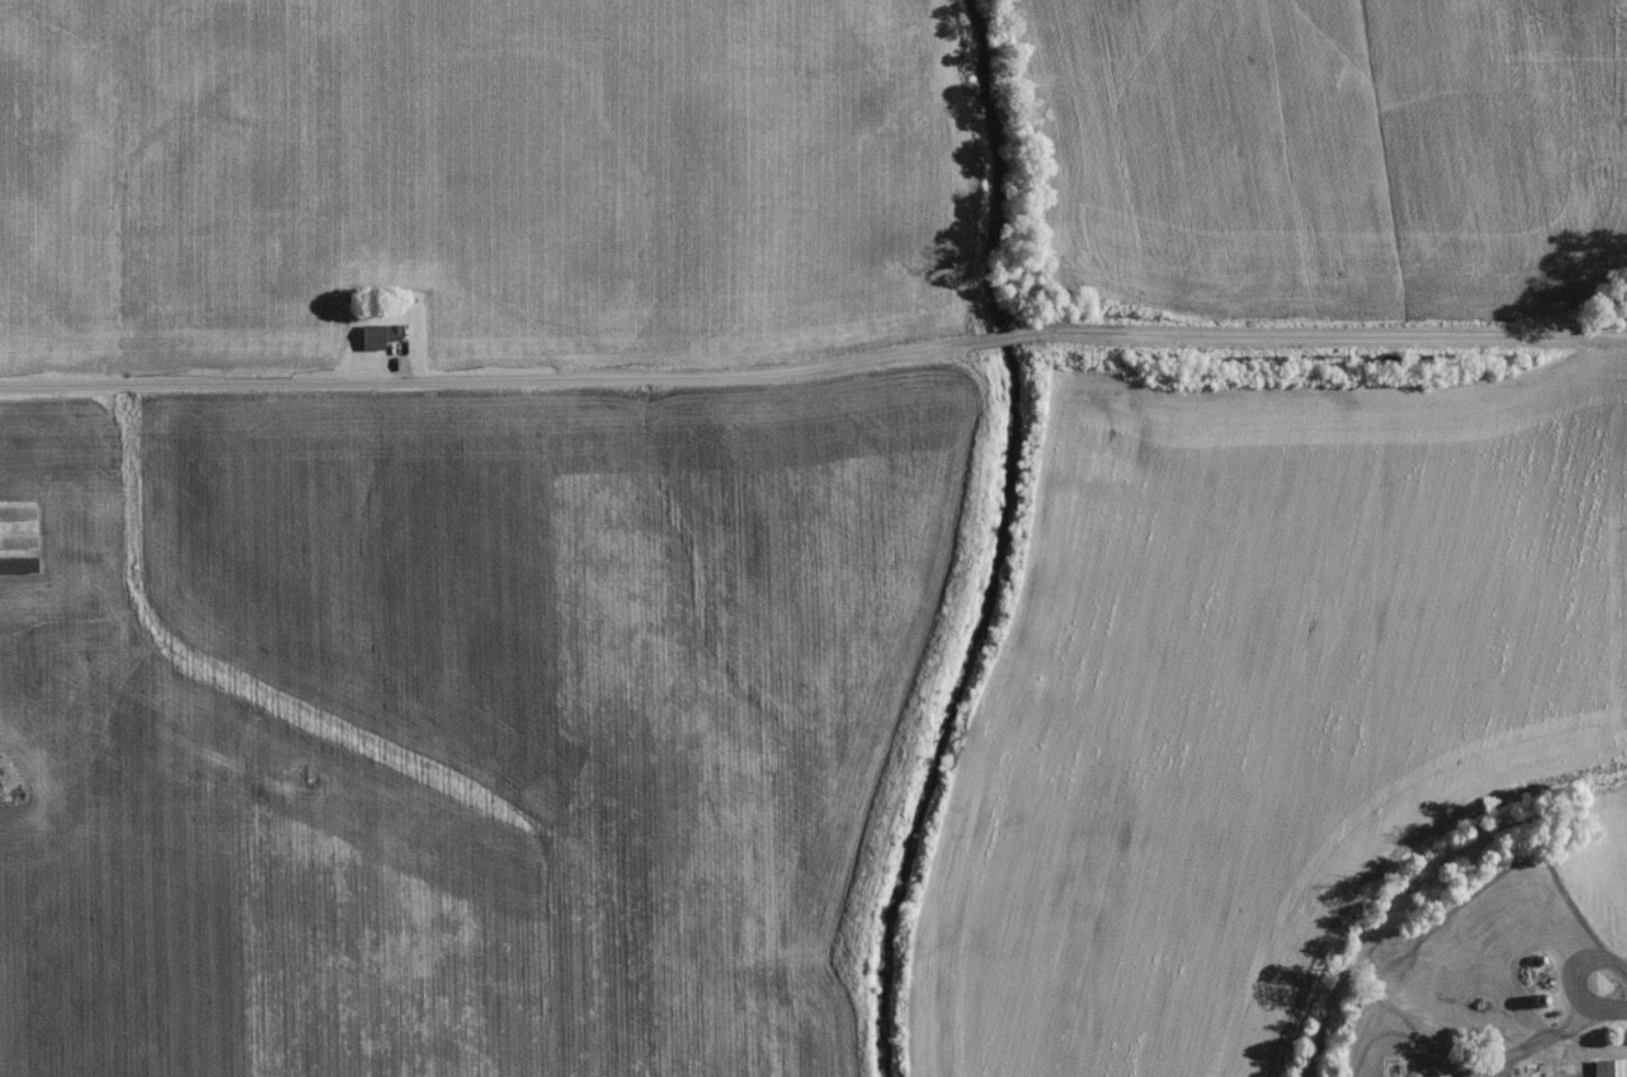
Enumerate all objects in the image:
building: (378, 341)
road: (814, 365)
building: (18, 516)
building: (19, 546)
building: (19, 570)
building: (1540, 930)
building: (1609, 1070)

